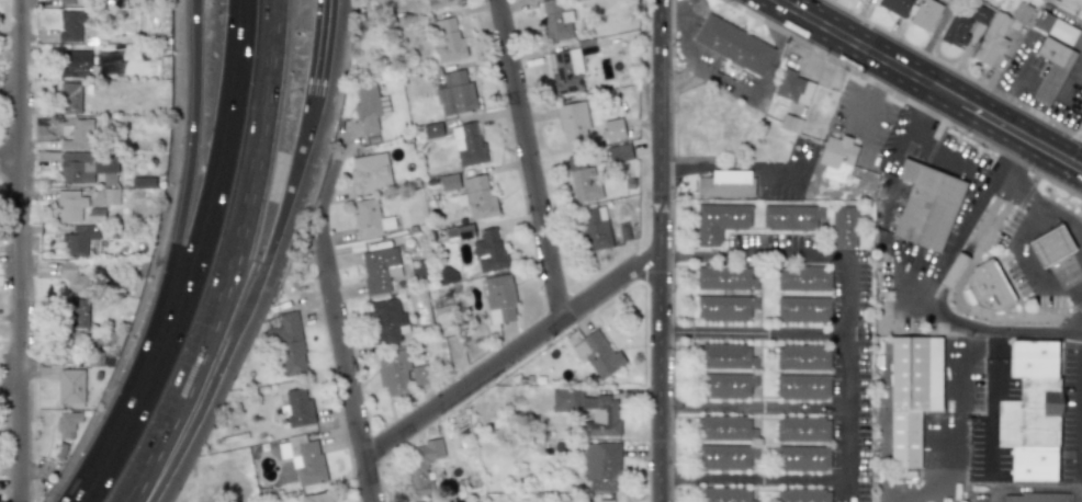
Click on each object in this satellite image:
building: (945, 0)
building: (947, 0)
building: (76, 1)
building: (439, 3)
building: (895, 5)
building: (925, 14)
building: (980, 14)
building: (555, 21)
building: (71, 26)
building: (1055, 27)
building: (957, 30)
building: (448, 39)
building: (991, 39)
road: (856, 43)
building: (733, 44)
road: (324, 47)
building: (80, 64)
building: (1051, 68)
road: (954, 70)
building: (565, 71)
building: (793, 87)
building: (455, 93)
building: (71, 98)
road: (903, 98)
building: (369, 107)
road: (867, 111)
road: (1010, 115)
building: (574, 123)
road: (914, 126)
building: (612, 128)
building: (432, 130)
building: (79, 134)
road: (1004, 139)
building: (467, 145)
building: (619, 152)
road: (950, 155)
building: (837, 158)
road: (9, 159)
road: (529, 159)
building: (78, 168)
road: (734, 168)
road: (1019, 170)
building: (369, 173)
building: (582, 179)
building: (449, 182)
building: (725, 184)
building: (112, 195)
building: (478, 197)
road: (1028, 199)
building: (70, 204)
building: (927, 205)
building: (97, 215)
building: (791, 217)
building: (370, 218)
building: (719, 221)
building: (843, 226)
building: (595, 228)
road: (956, 235)
building: (78, 240)
building: (1051, 246)
road: (18, 250)
road: (662, 250)
building: (489, 251)
road: (176, 253)
road: (760, 255)
road: (200, 256)
road: (232, 259)
road: (668, 259)
road: (1026, 260)
building: (380, 269)
building: (72, 277)
building: (724, 277)
building: (803, 278)
building: (987, 286)
road: (1075, 296)
building: (499, 299)
road: (958, 300)
road: (253, 306)
power tower: (451, 307)
building: (724, 307)
road: (939, 308)
building: (803, 309)
building: (80, 312)
building: (387, 320)
road: (791, 331)
building: (289, 343)
building: (70, 346)
building: (597, 353)
road: (510, 354)
building: (725, 355)
building: (802, 356)
road: (346, 363)
road: (845, 370)
building: (399, 372)
building: (726, 385)
building: (802, 386)
building: (72, 388)
building: (912, 393)
road: (668, 406)
road: (760, 407)
building: (298, 408)
building: (1032, 411)
building: (604, 412)
road: (949, 423)
building: (67, 425)
building: (722, 427)
building: (802, 427)
road: (846, 444)
road: (1081, 446)
building: (724, 456)
building: (304, 458)
building: (802, 458)
building: (421, 466)
building: (601, 466)
road: (1081, 469)
road: (669, 480)
road: (763, 480)
road: (1037, 489)
building: (725, 494)
building: (802, 495)
building: (317, 497)
building: (1034, 497)
road: (91, 499)
building: (422, 501)
building: (532, 501)

